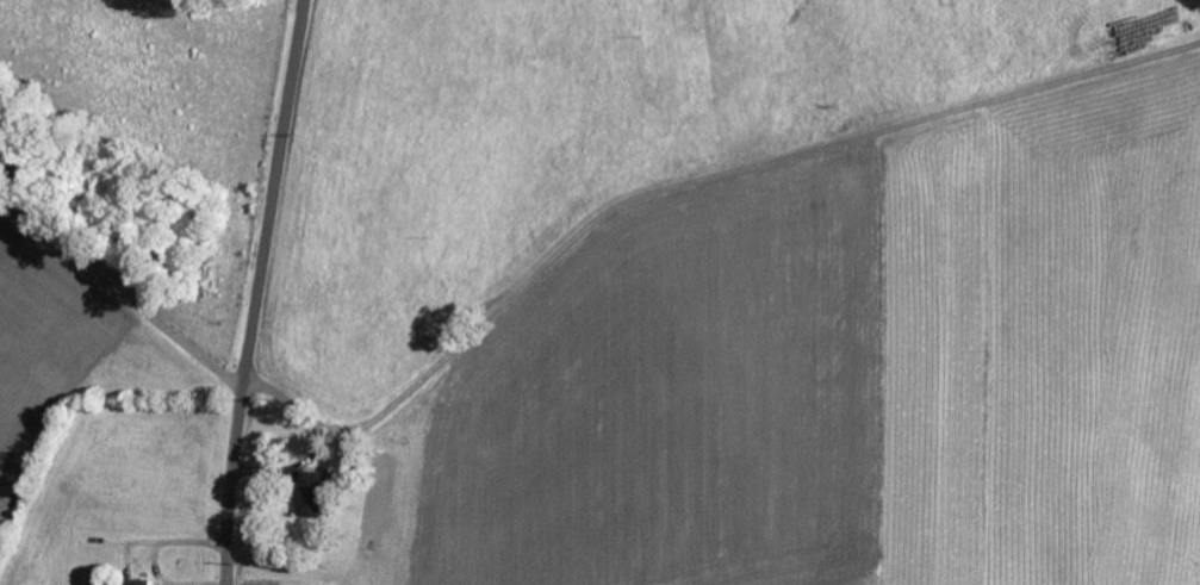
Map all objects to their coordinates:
road: (274, 194)
road: (119, 305)
road: (230, 486)
building: (316, 493)
building: (145, 580)

